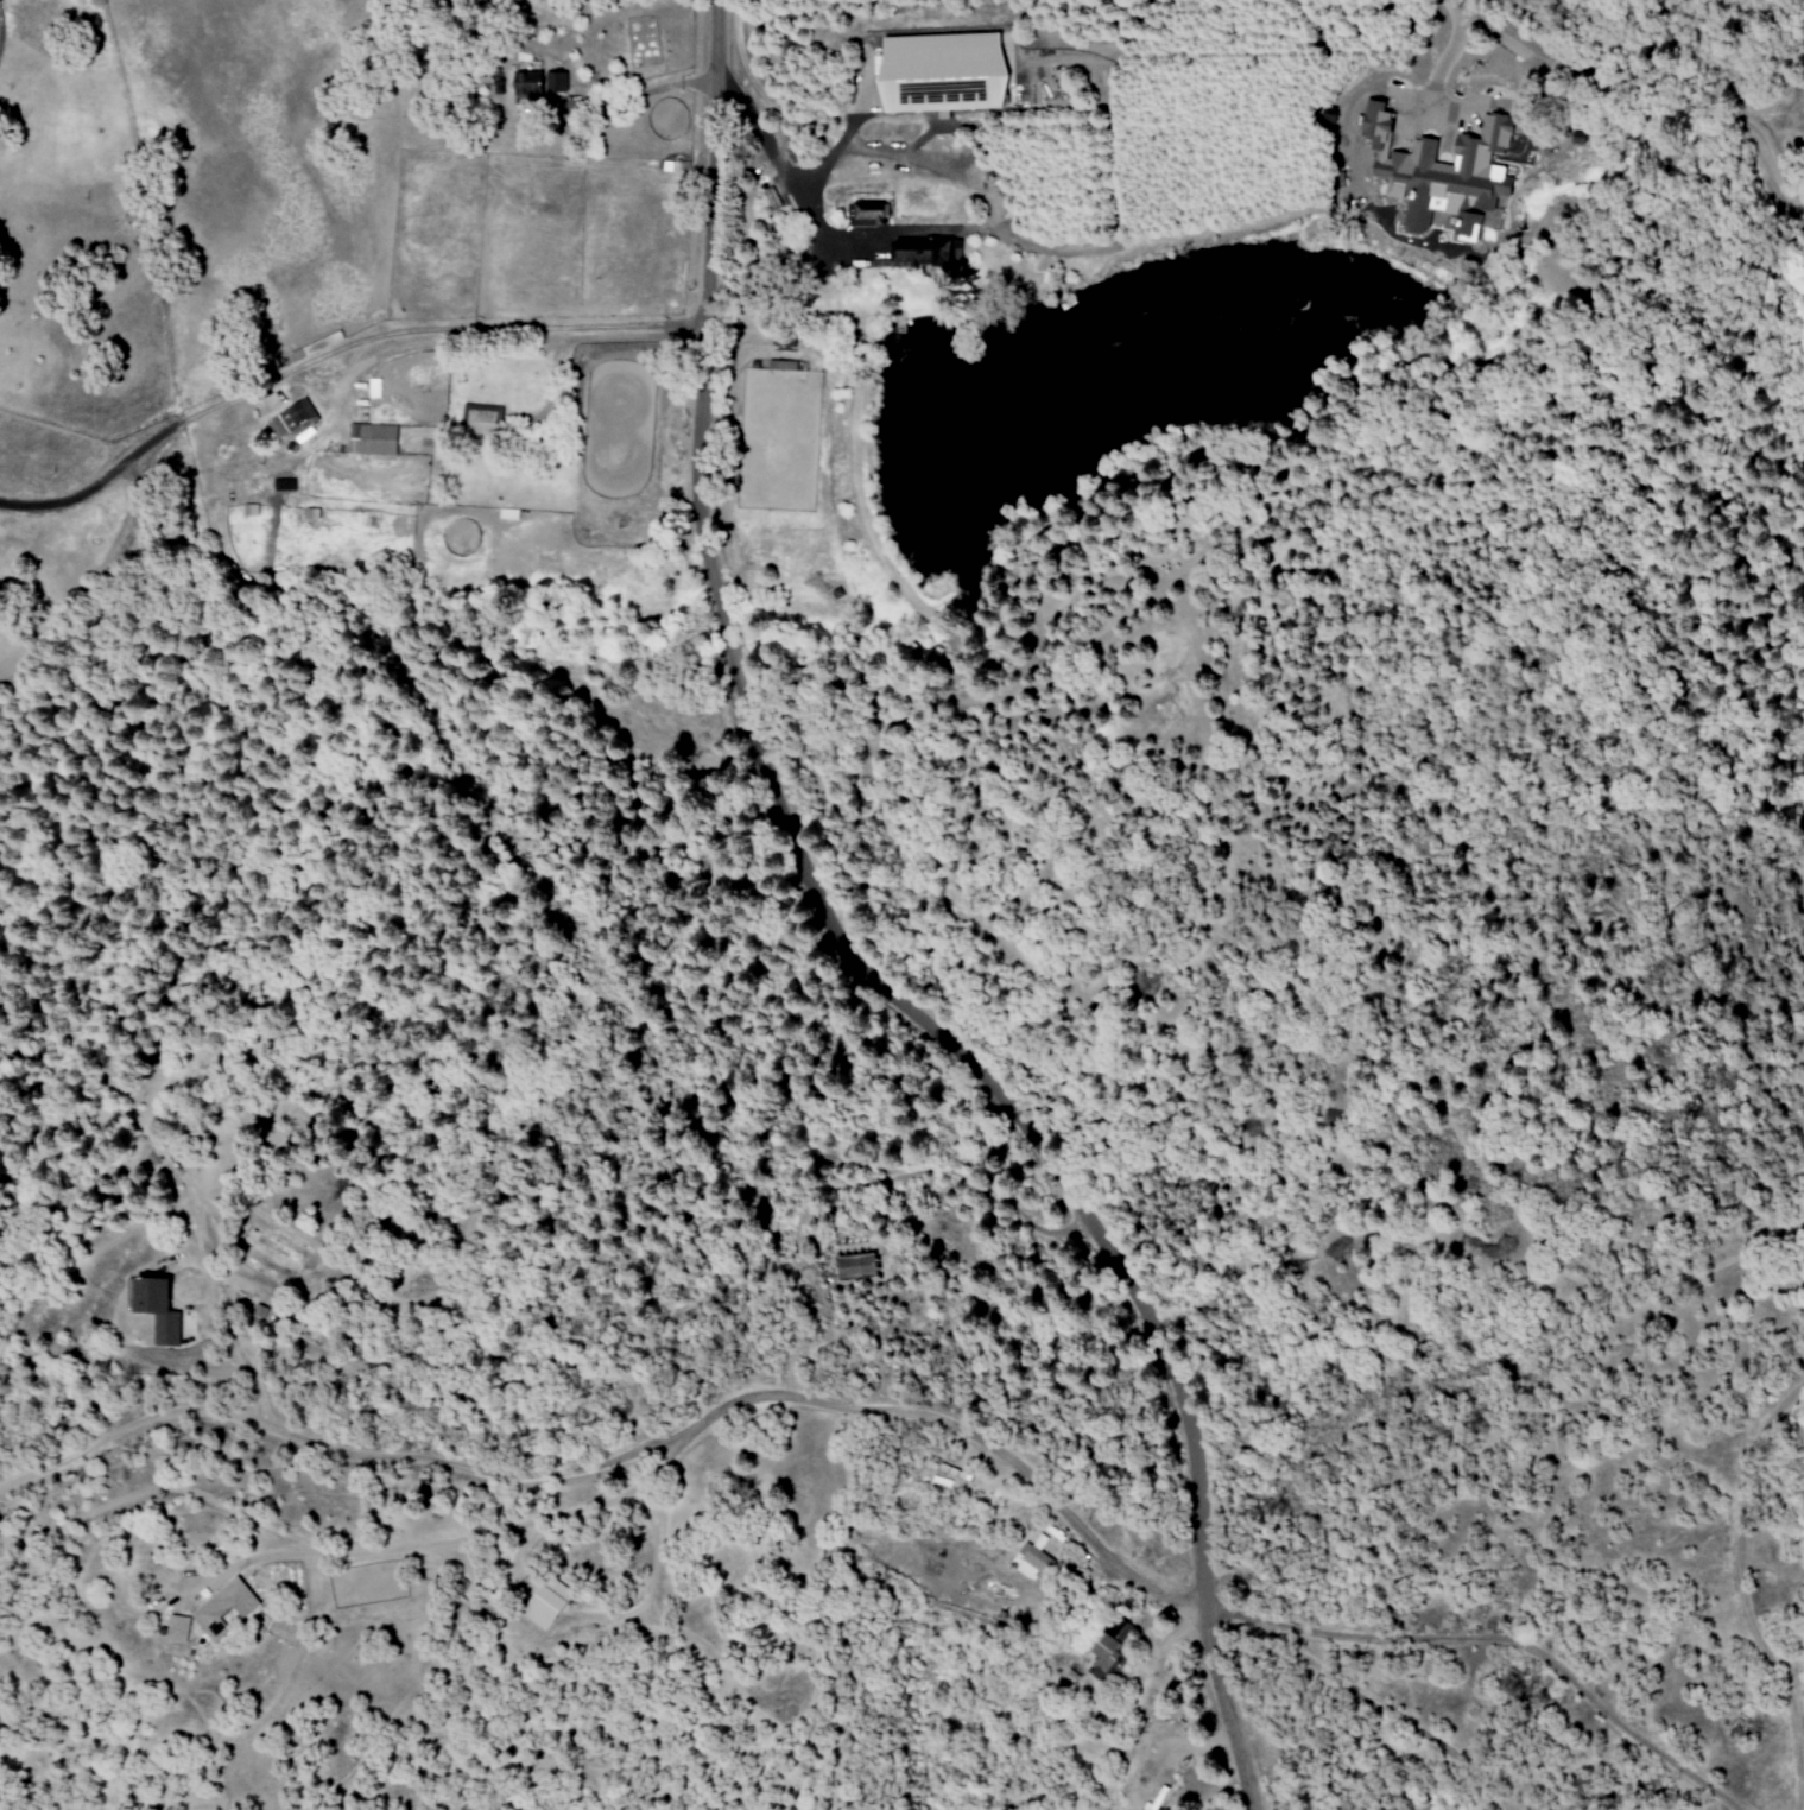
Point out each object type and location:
building: (939, 72)
building: (553, 82)
building: (524, 88)
building: (1441, 173)
building: (868, 214)
building: (924, 252)
road: (494, 342)
road: (329, 349)
building: (482, 418)
building: (290, 419)
building: (372, 438)
road: (866, 945)
building: (855, 1266)
building: (156, 1309)
road: (631, 1455)
building: (1031, 1559)
building: (544, 1603)
building: (217, 1608)
road: (1233, 1613)
building: (170, 1628)
building: (1106, 1645)
road: (1527, 1647)
road: (1390, 1714)

